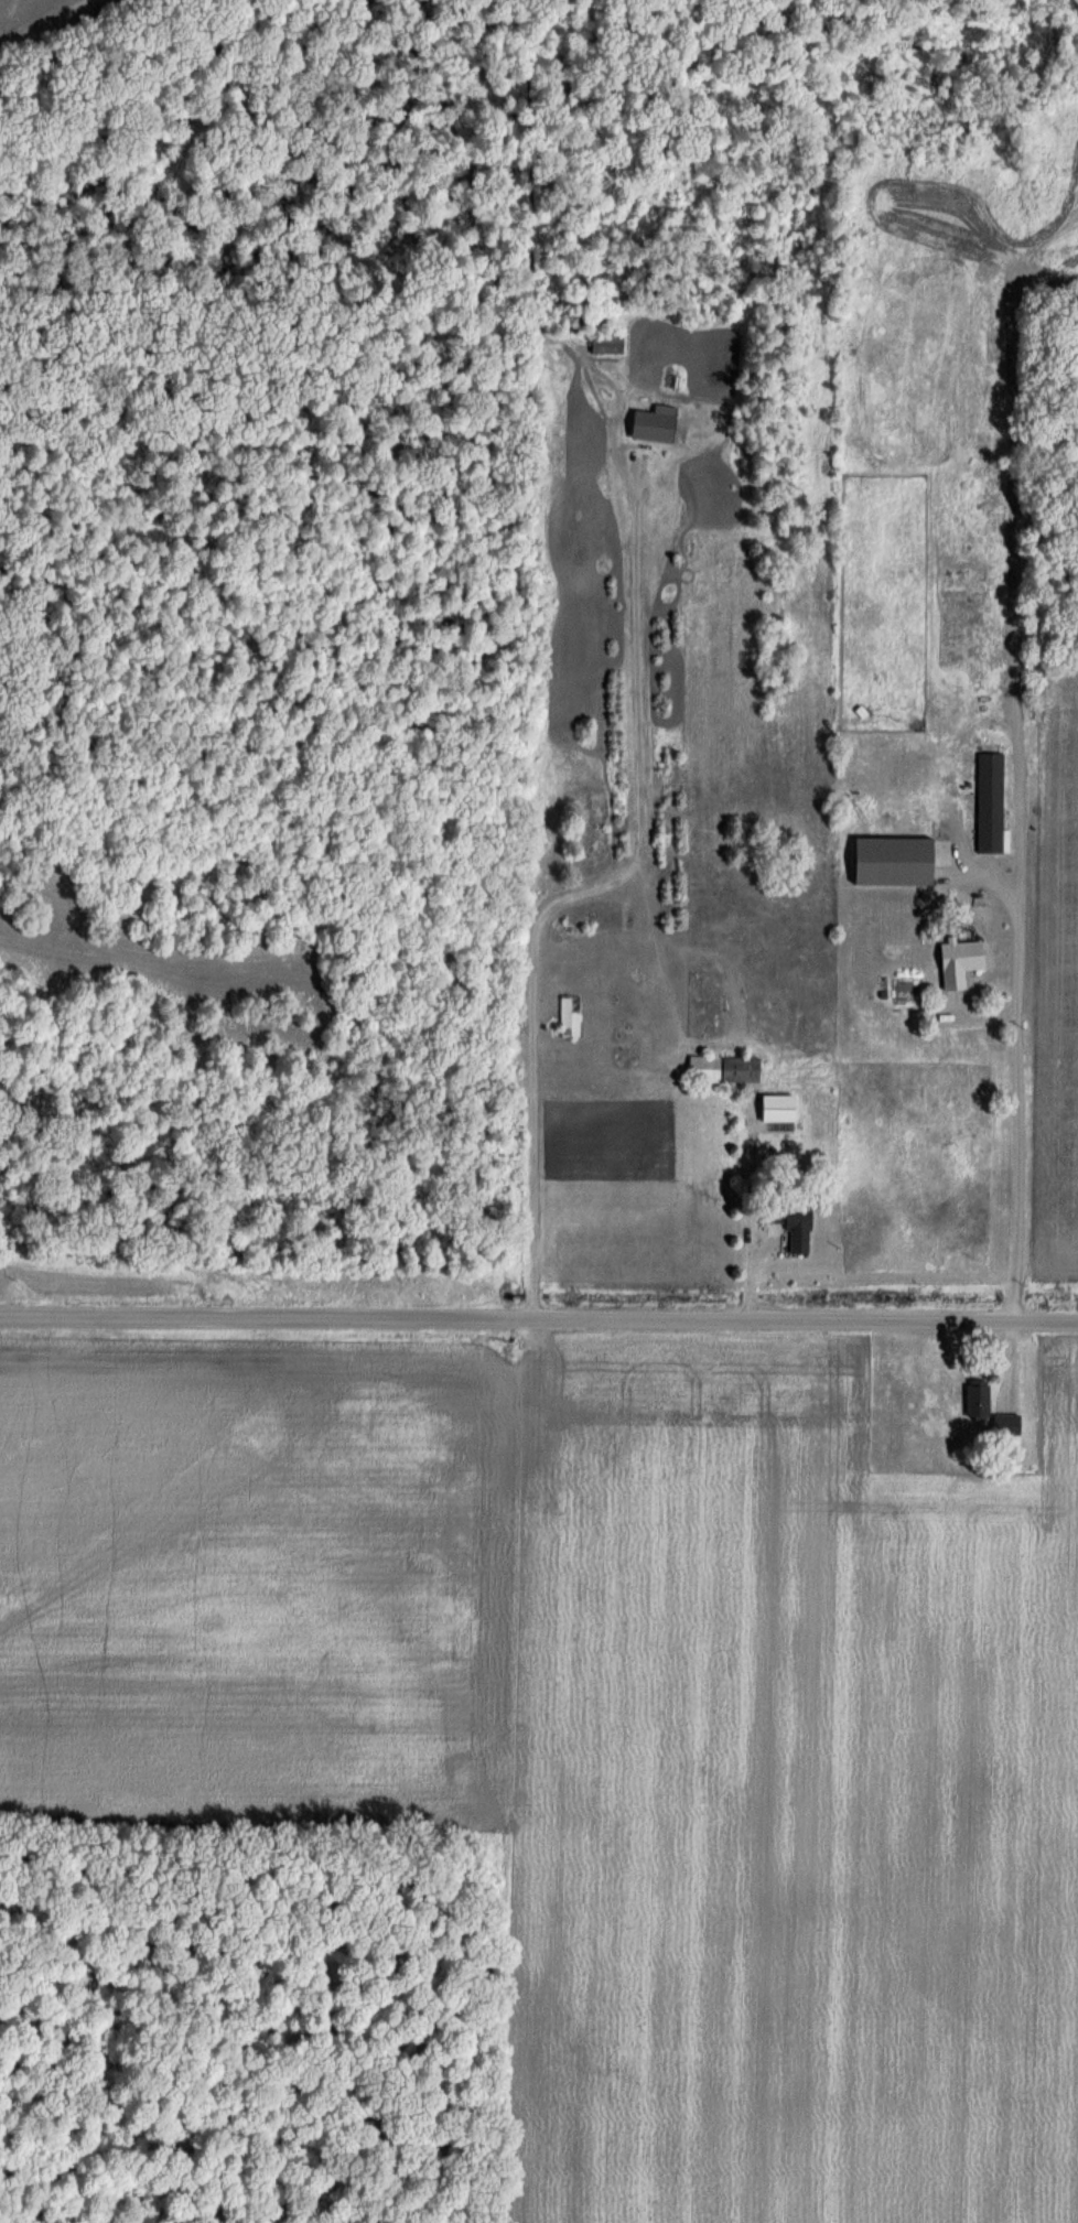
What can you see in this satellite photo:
building: (606, 345)
building: (651, 425)
building: (989, 802)
road: (1014, 942)
building: (970, 950)
building: (569, 1016)
building: (723, 1069)
building: (789, 1226)
road: (538, 1316)
building: (975, 1401)
building: (1003, 1424)

